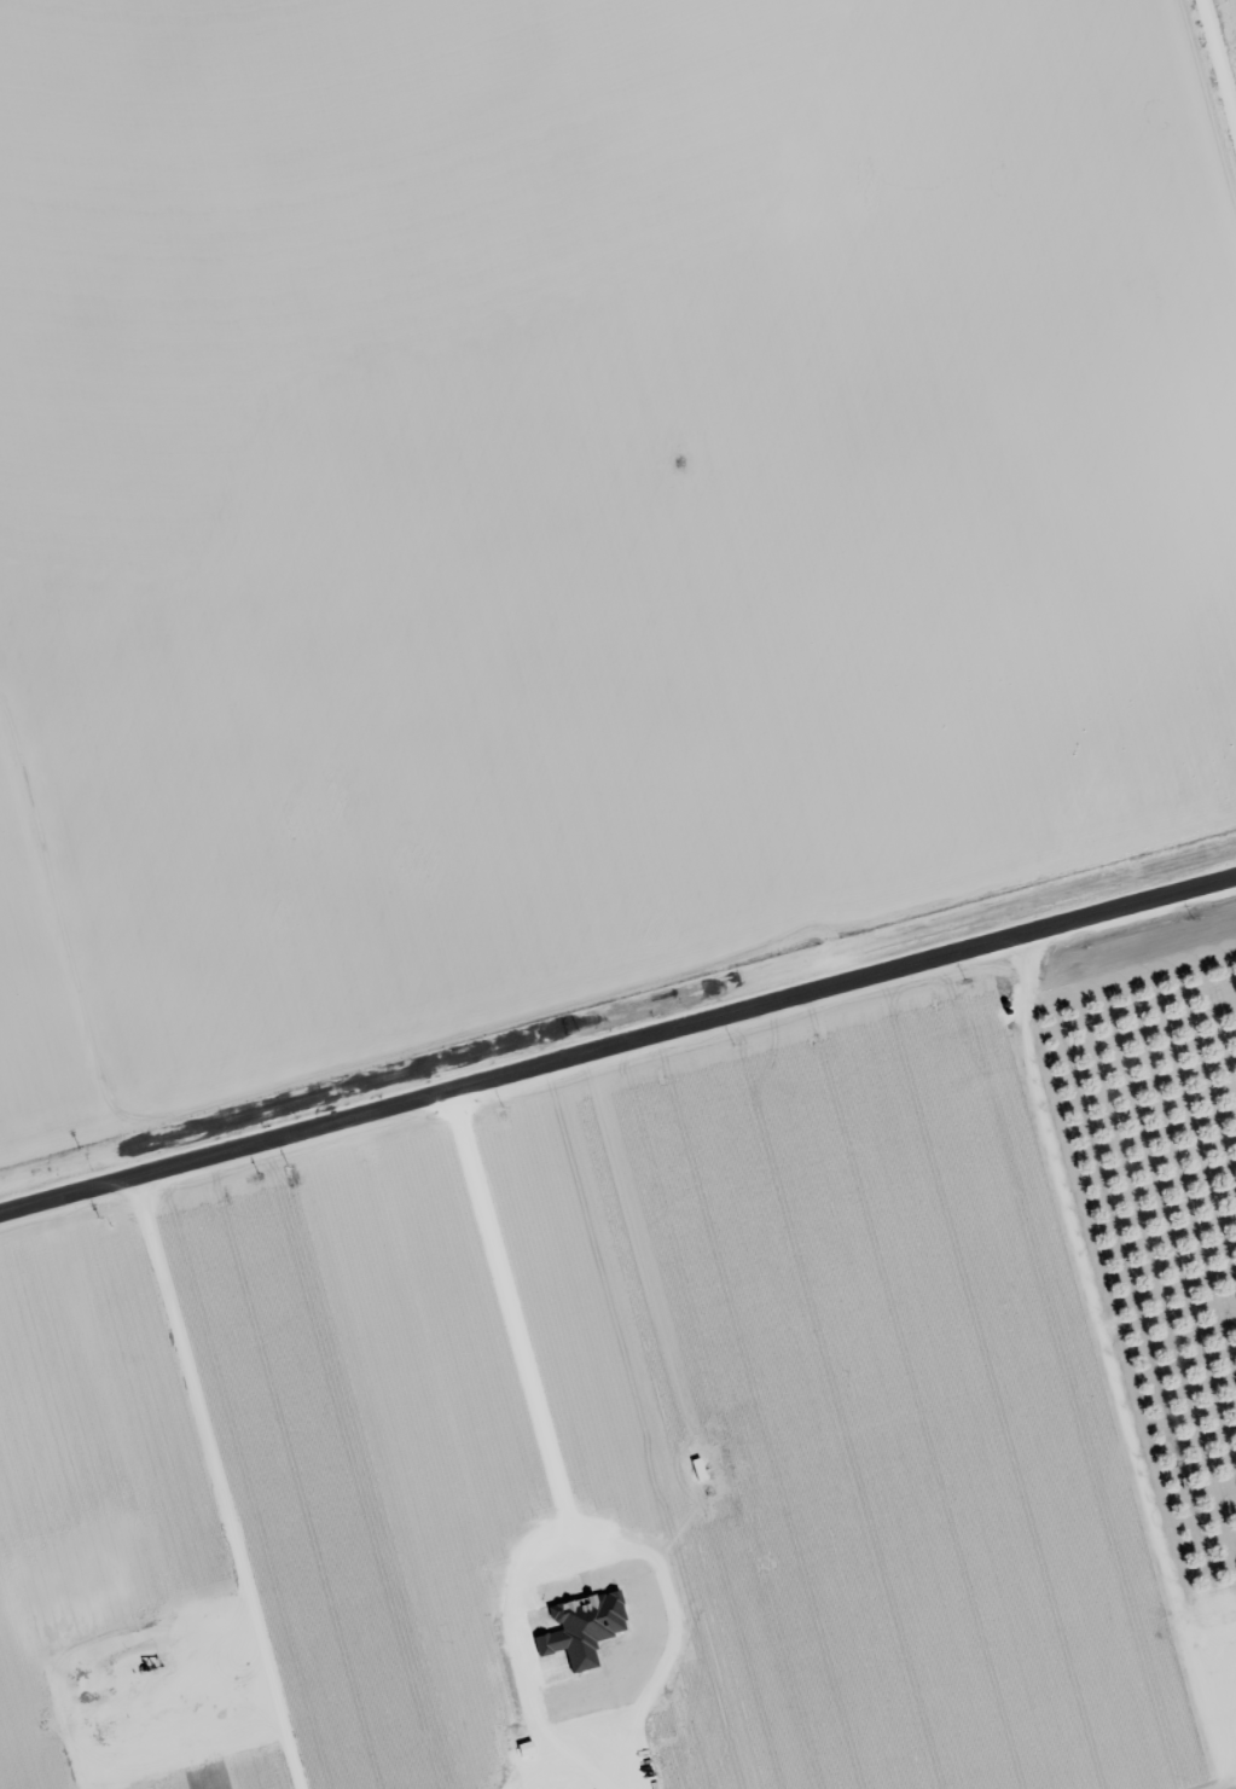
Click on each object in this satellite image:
road: (1208, 68)
road: (614, 1067)
road: (127, 1514)
building: (582, 1624)

